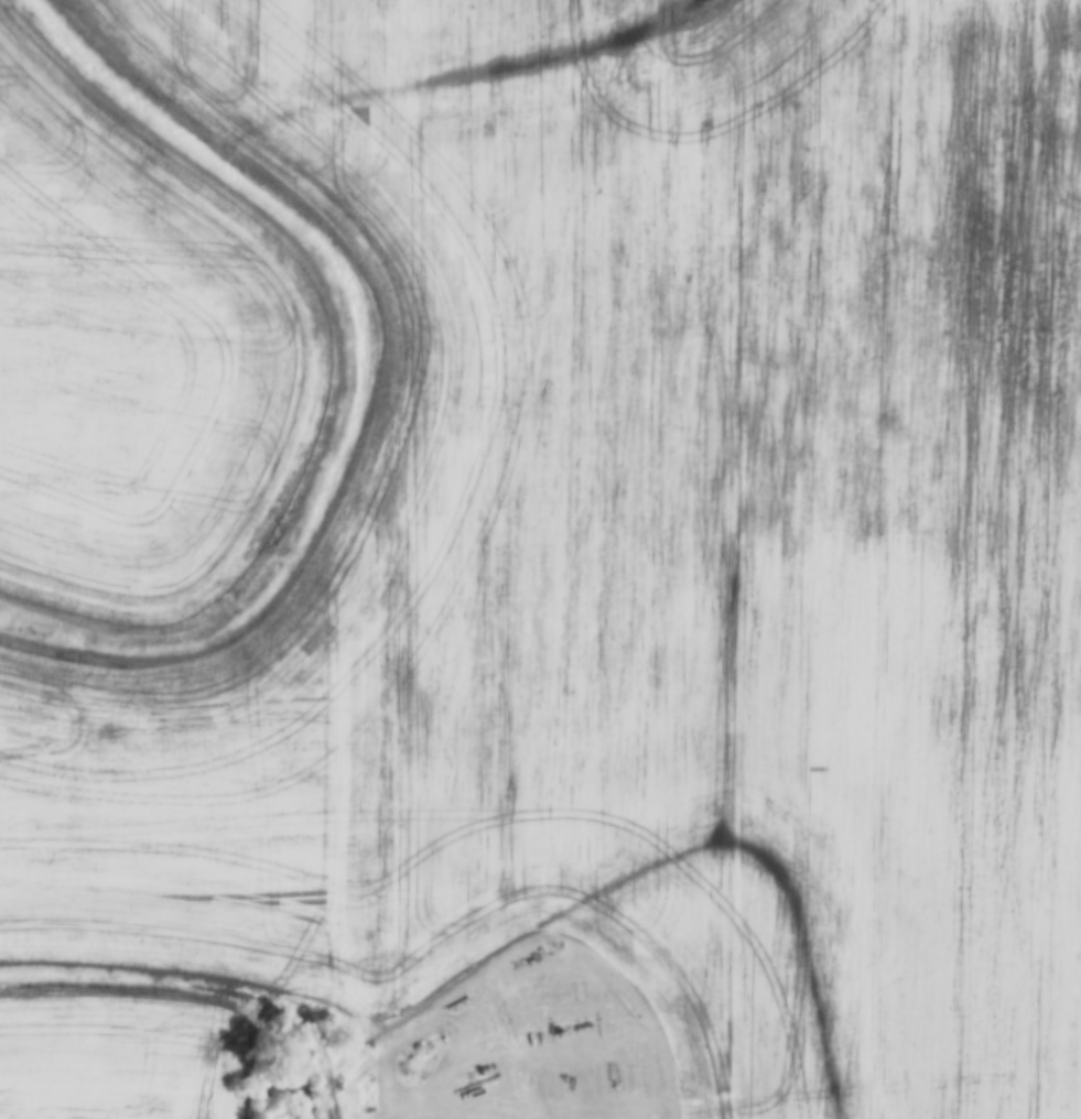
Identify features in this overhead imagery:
crop: (134, 363)
crop: (647, 556)
road: (370, 1041)
crop: (111, 1051)
road: (635, 1068)
road: (436, 1102)

